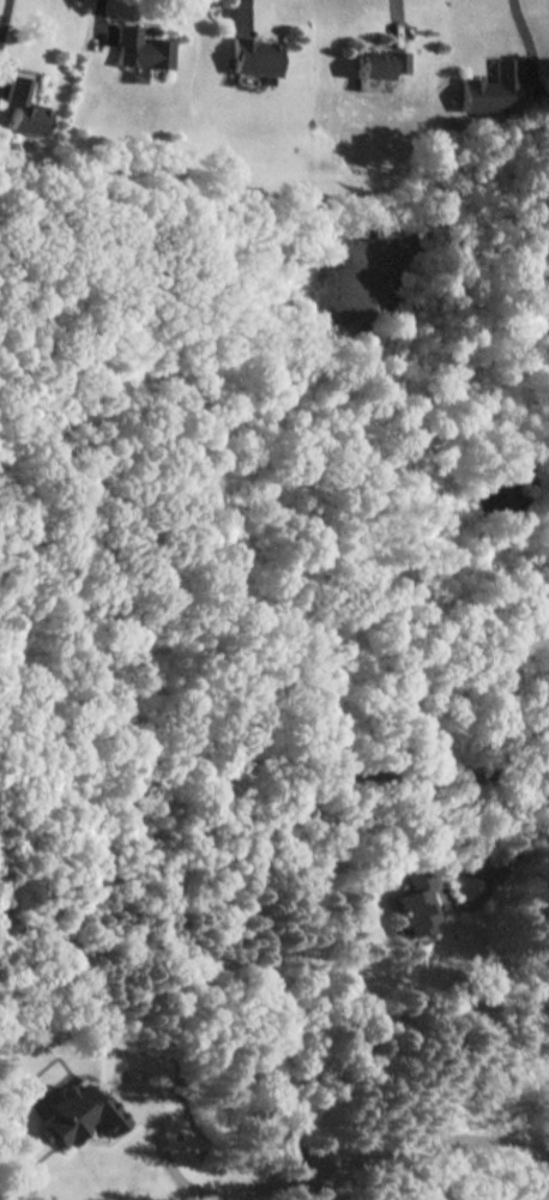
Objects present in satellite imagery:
road: (2, 18)
road: (97, 20)
building: (137, 49)
building: (249, 59)
building: (376, 64)
building: (487, 89)
building: (20, 109)
road: (274, 782)
road: (521, 830)
building: (415, 904)
building: (77, 1115)
road: (327, 1164)

